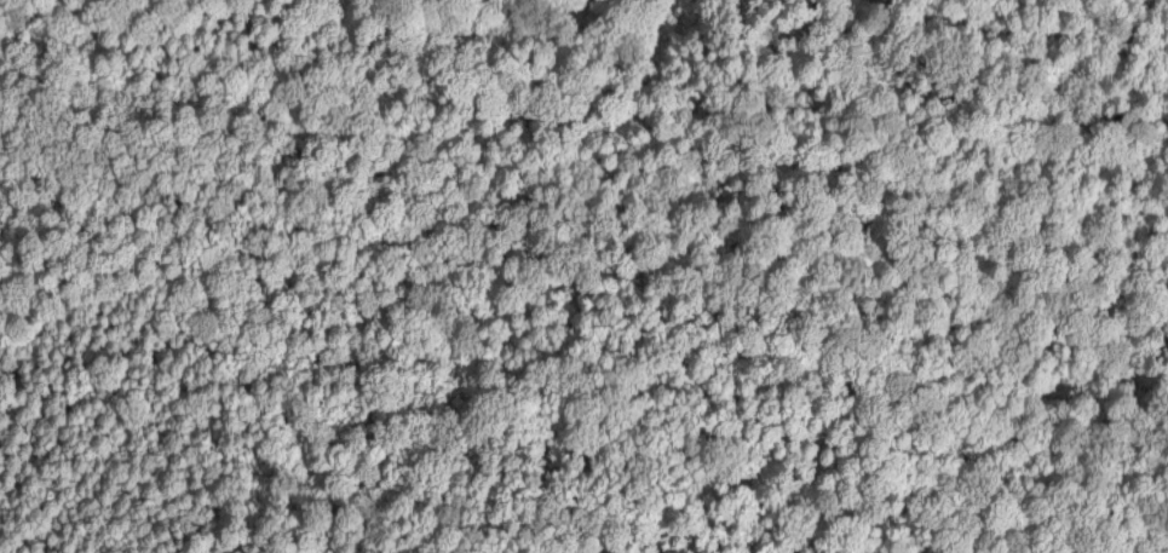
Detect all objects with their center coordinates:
road: (1024, 31)

